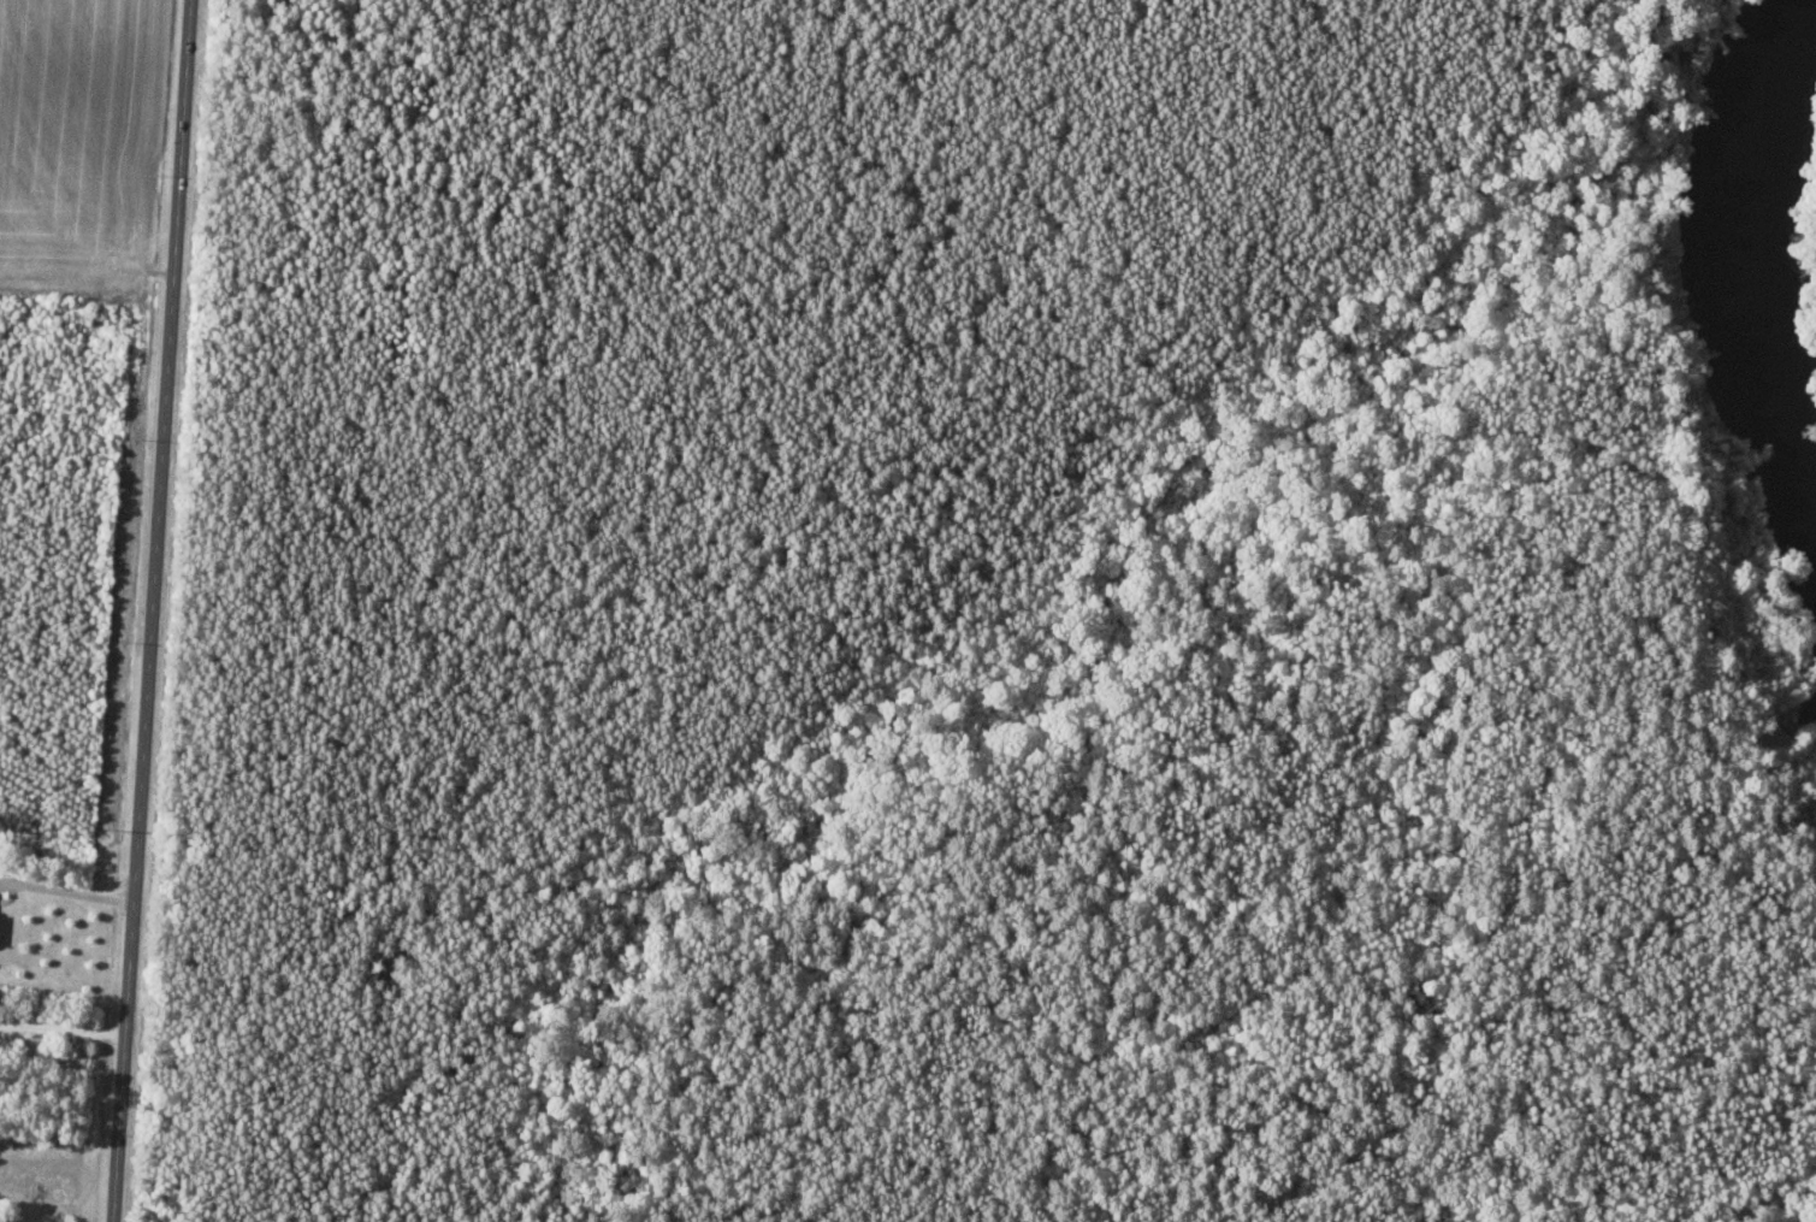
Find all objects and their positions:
river: (1746, 287)
road: (153, 610)
road: (69, 885)
road: (61, 1028)

